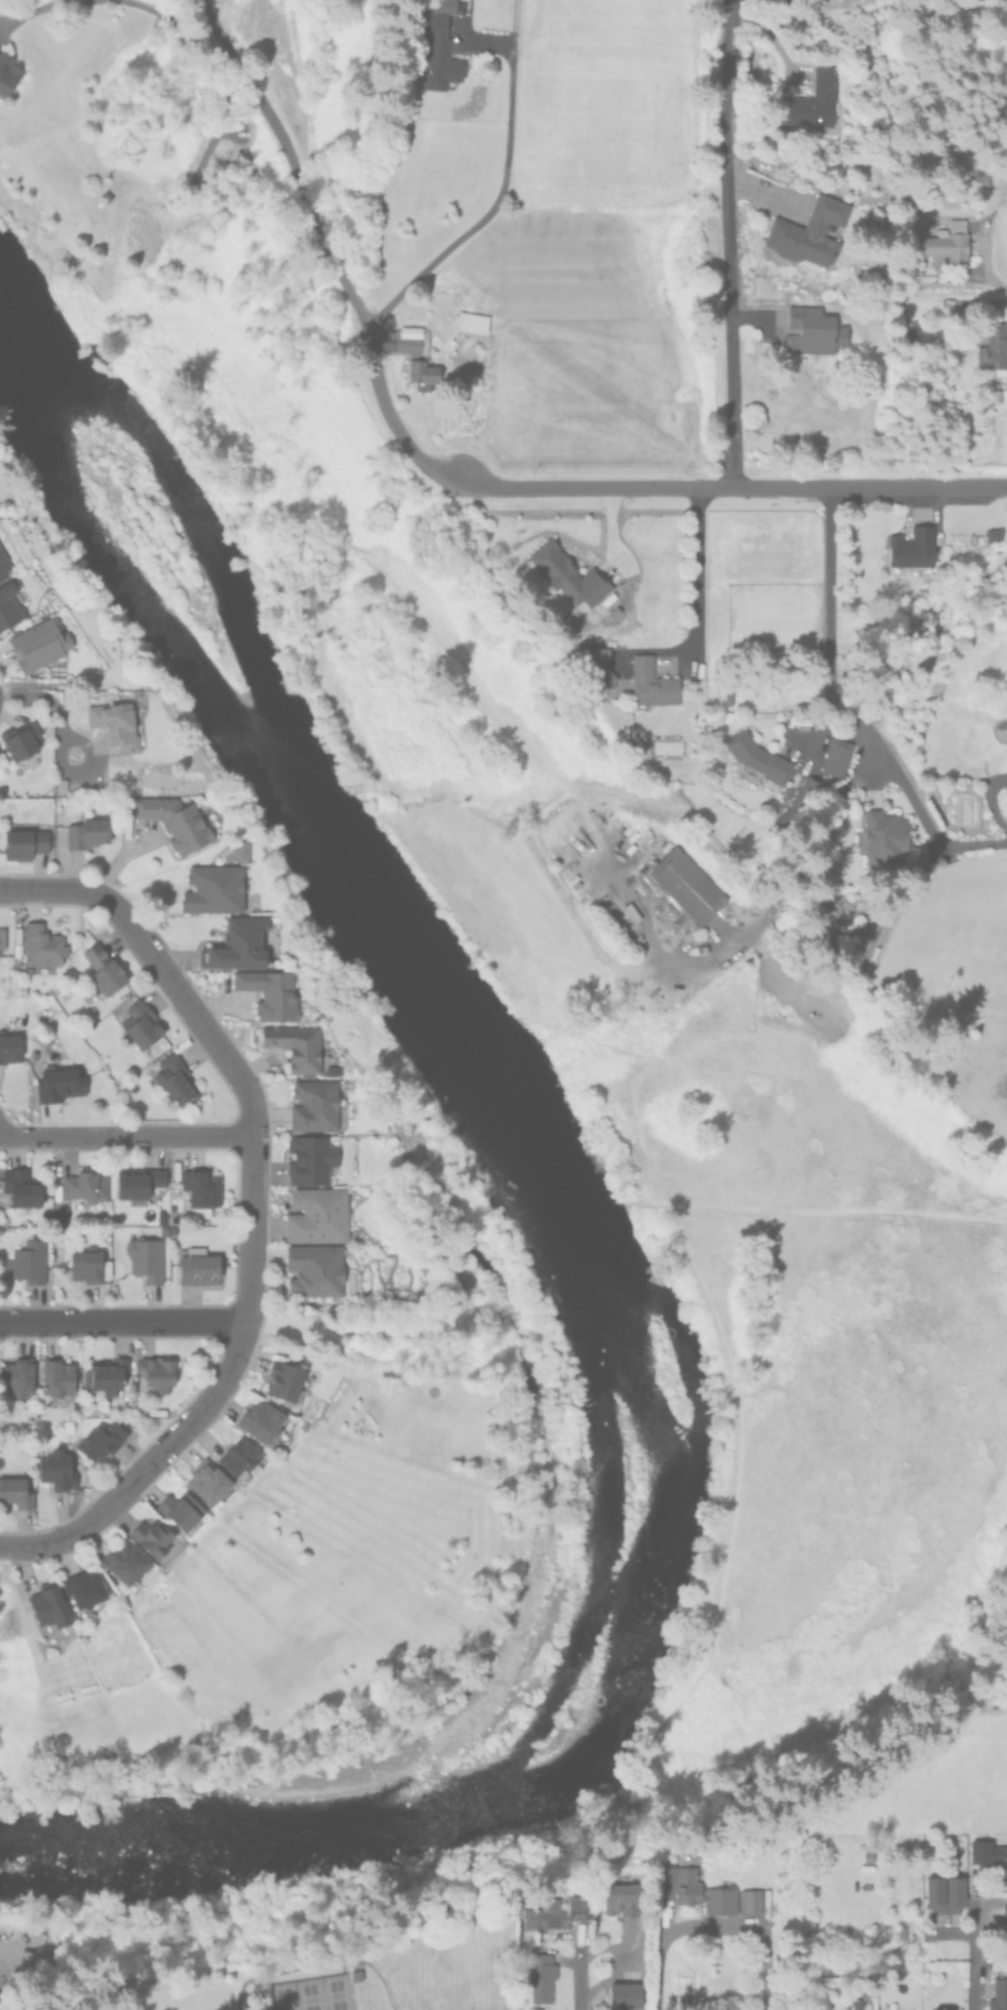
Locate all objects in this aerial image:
road: (109, 0)
building: (435, 45)
building: (7, 73)
building: (811, 100)
building: (1005, 193)
road: (491, 210)
building: (808, 233)
road: (722, 244)
building: (946, 244)
road: (993, 284)
building: (470, 321)
building: (909, 329)
building: (810, 330)
building: (991, 345)
building: (416, 357)
building: (995, 394)
road: (453, 477)
building: (988, 533)
building: (907, 548)
building: (2, 563)
road: (700, 572)
building: (565, 574)
building: (7, 604)
road: (828, 608)
building: (35, 643)
building: (596, 664)
building: (649, 682)
road: (55, 712)
building: (115, 721)
building: (18, 739)
building: (834, 756)
building: (755, 758)
road: (990, 802)
building: (798, 804)
road: (916, 807)
building: (123, 812)
building: (174, 820)
building: (84, 831)
building: (883, 835)
building: (22, 838)
building: (240, 849)
building: (685, 885)
road: (52, 889)
building: (212, 889)
building: (1, 936)
building: (242, 943)
building: (40, 947)
building: (100, 969)
building: (267, 992)
building: (136, 1024)
building: (9, 1041)
building: (293, 1044)
building: (329, 1069)
building: (172, 1079)
building: (57, 1082)
road: (245, 1087)
building: (312, 1104)
road: (126, 1135)
building: (308, 1157)
building: (136, 1181)
building: (18, 1185)
building: (83, 1186)
building: (198, 1189)
building: (316, 1213)
building: (159, 1214)
river: (586, 1248)
building: (143, 1256)
building: (26, 1259)
building: (86, 1263)
building: (194, 1264)
building: (316, 1268)
road: (124, 1322)
building: (154, 1371)
building: (105, 1372)
building: (15, 1375)
building: (55, 1375)
building: (283, 1380)
building: (258, 1419)
building: (97, 1438)
building: (237, 1456)
road: (146, 1464)
building: (54, 1467)
building: (206, 1481)
building: (14, 1491)
building: (179, 1509)
building: (153, 1538)
building: (123, 1560)
building: (81, 1588)
building: (46, 1603)
building: (999, 1859)
building: (692, 1889)
building: (945, 1894)
building: (619, 1898)
building: (748, 1901)
building: (1005, 1912)
building: (553, 1914)
road: (715, 1925)
building: (903, 1932)
park: (277, 1943)
road: (974, 1947)
road: (316, 1962)
building: (350, 1977)
building: (542, 1977)
road: (576, 1977)
building: (260, 1989)
park: (307, 1994)
building: (622, 1995)
building: (999, 1995)
building: (867, 1996)
park: (325, 2000)
park: (292, 2003)
building: (961, 2009)

